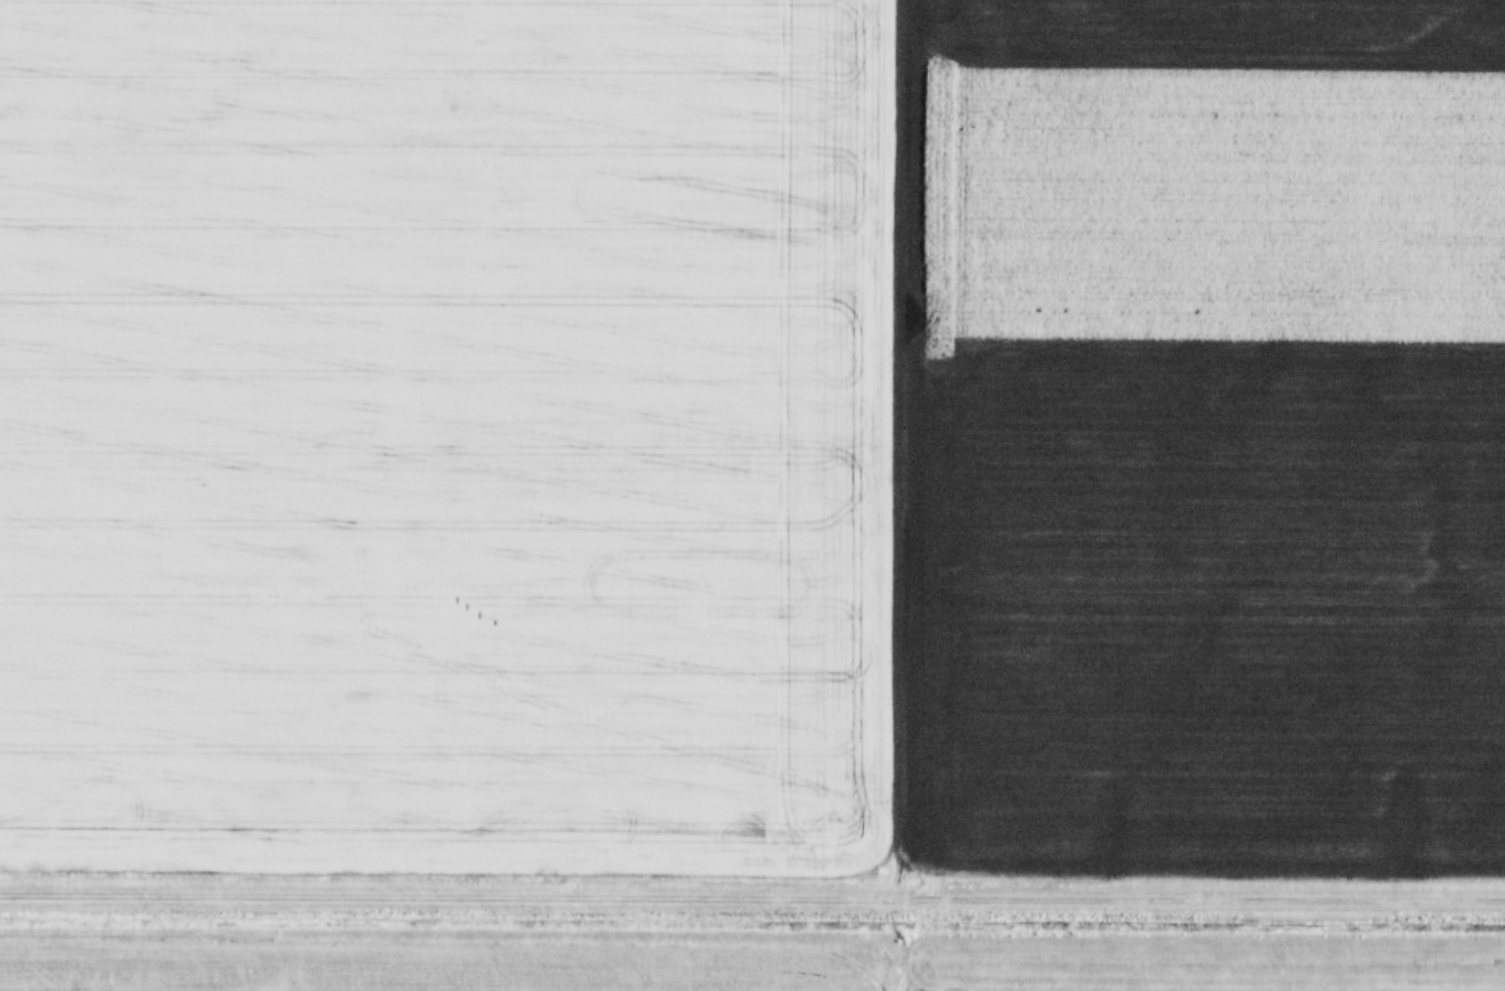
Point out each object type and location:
road: (752, 901)

